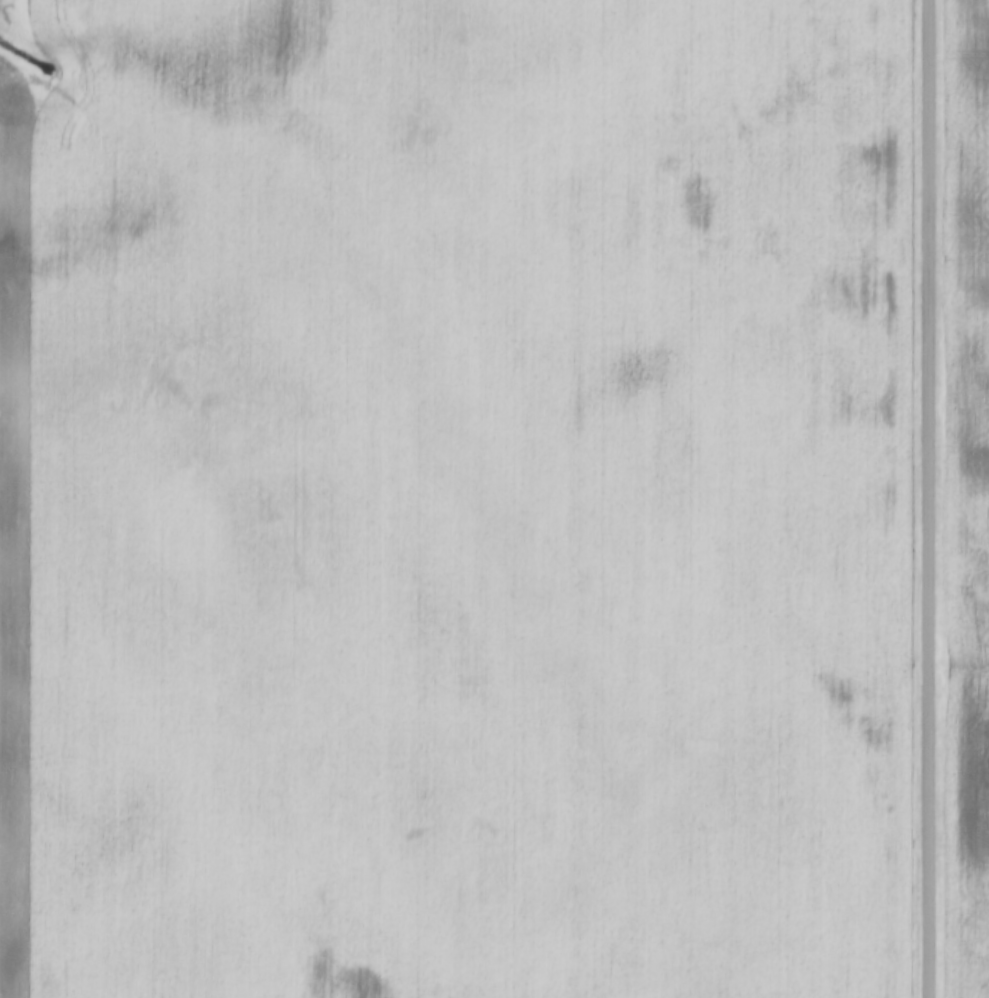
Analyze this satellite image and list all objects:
road: (938, 499)

